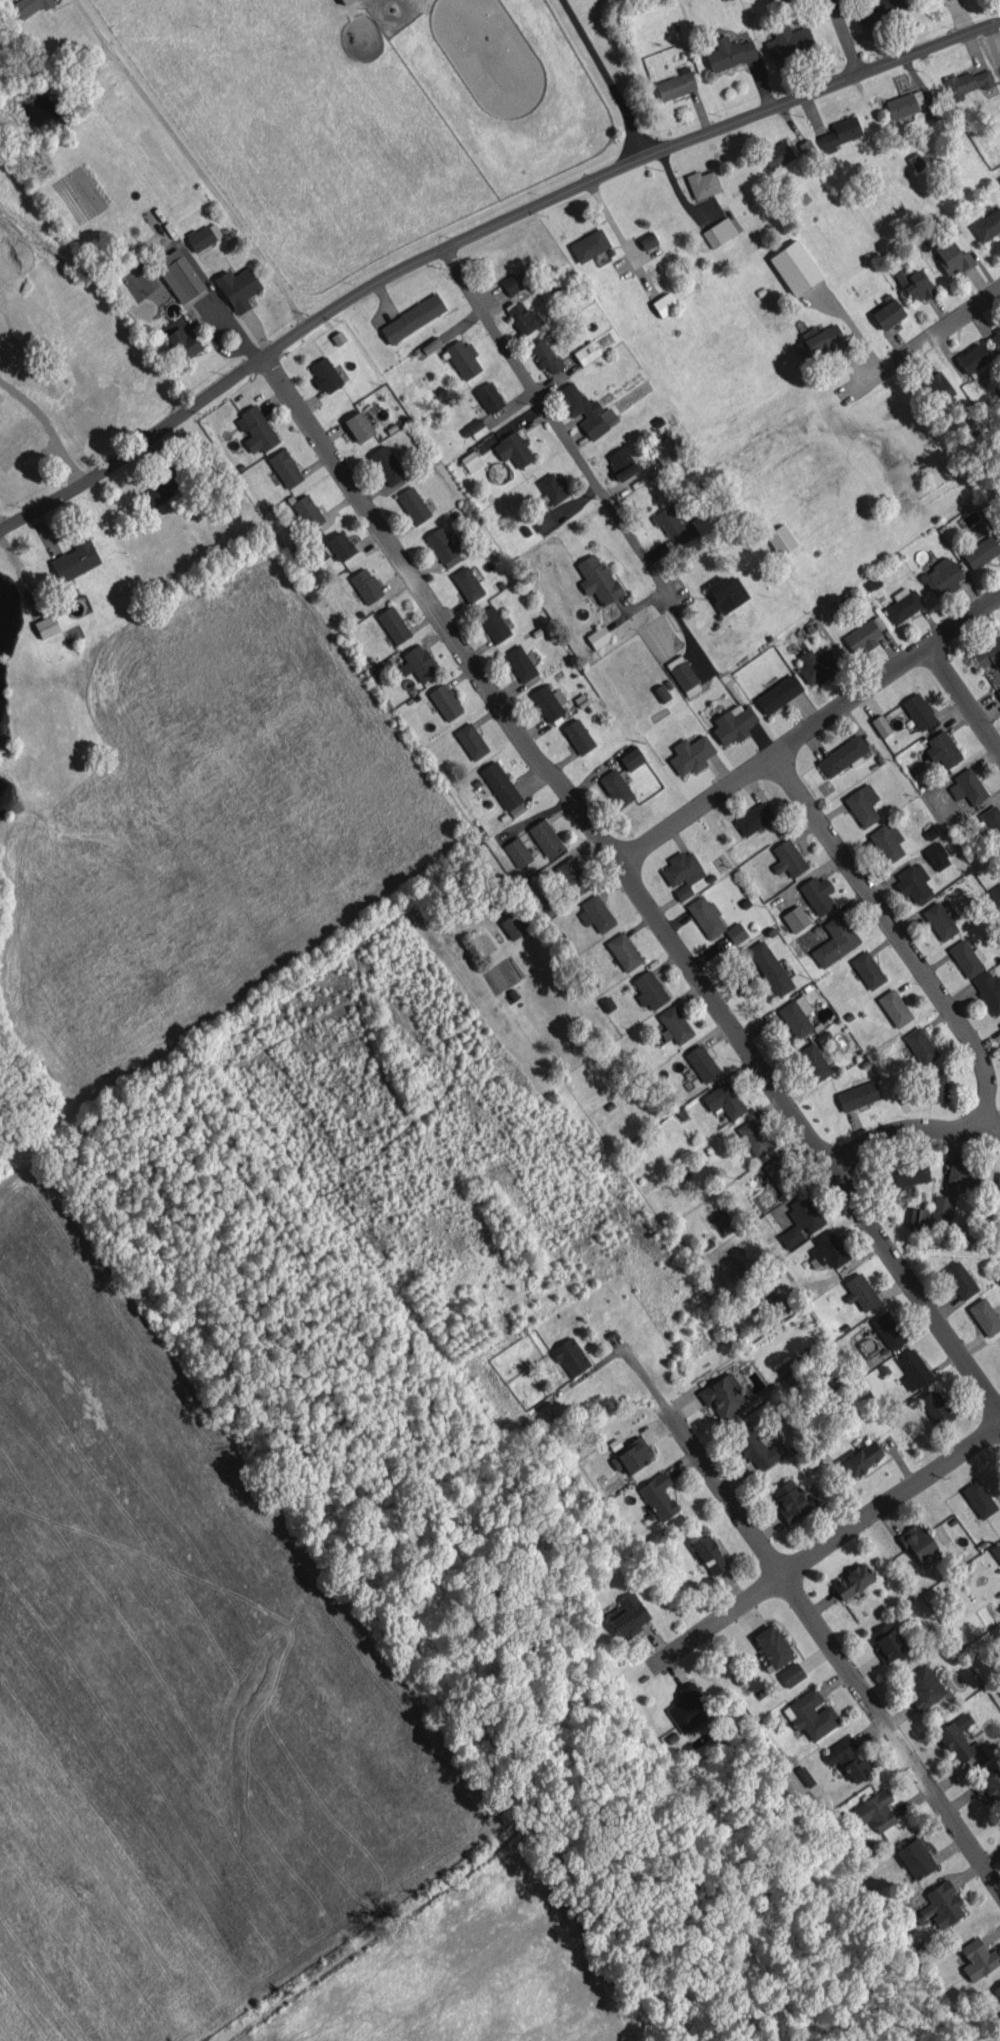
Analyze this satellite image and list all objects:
building: (344, 1)
building: (775, 1)
building: (28, 6)
building: (877, 9)
road: (844, 38)
building: (788, 40)
building: (729, 52)
road: (604, 75)
building: (967, 82)
building: (676, 84)
building: (905, 103)
building: (839, 133)
building: (806, 148)
building: (777, 154)
road: (190, 160)
building: (916, 161)
building: (702, 183)
building: (987, 224)
road: (474, 228)
building: (719, 231)
building: (204, 236)
building: (647, 239)
building: (589, 245)
building: (952, 257)
building: (795, 267)
building: (179, 274)
building: (511, 283)
building: (914, 284)
building: (238, 288)
building: (664, 304)
building: (888, 314)
building: (523, 317)
building: (412, 318)
building: (995, 339)
building: (817, 341)
road: (923, 341)
building: (183, 342)
building: (427, 347)
building: (585, 353)
building: (545, 355)
building: (463, 358)
building: (972, 358)
building: (325, 374)
building: (938, 385)
building: (489, 397)
building: (587, 411)
building: (359, 425)
road: (554, 426)
building: (475, 428)
building: (256, 429)
road: (45, 430)
building: (514, 449)
building: (663, 450)
building: (470, 460)
building: (621, 462)
building: (386, 464)
building: (285, 467)
building: (553, 487)
building: (157, 492)
building: (413, 505)
building: (307, 511)
building: (969, 519)
building: (667, 520)
building: (705, 521)
building: (543, 522)
building: (999, 526)
building: (781, 539)
building: (441, 544)
building: (340, 545)
building: (981, 552)
building: (74, 561)
building: (942, 576)
building: (597, 579)
building: (467, 583)
building: (366, 585)
building: (727, 592)
building: (903, 604)
building: (493, 623)
building: (393, 624)
building: (46, 625)
building: (598, 636)
building: (862, 636)
building: (988, 652)
building: (418, 663)
building: (520, 663)
building: (817, 665)
road: (942, 667)
building: (683, 675)
building: (661, 692)
building: (998, 692)
building: (778, 694)
building: (445, 701)
building: (548, 702)
building: (918, 710)
building: (733, 722)
building: (880, 725)
road: (806, 729)
building: (578, 736)
building: (471, 740)
building: (942, 748)
building: (690, 754)
building: (842, 755)
building: (631, 758)
building: (967, 786)
building: (616, 787)
building: (503, 789)
building: (862, 804)
building: (753, 818)
building: (992, 821)
building: (545, 837)
building: (887, 842)
building: (518, 852)
building: (936, 855)
building: (788, 858)
building: (682, 872)
building: (571, 876)
building: (913, 882)
road: (627, 883)
building: (817, 894)
building: (995, 894)
building: (596, 913)
building: (706, 916)
building: (795, 918)
building: (940, 920)
building: (514, 924)
building: (736, 932)
road: (899, 937)
building: (835, 941)
building: (623, 951)
building: (967, 958)
building: (769, 967)
building: (867, 969)
building: (649, 989)
building: (989, 990)
building: (894, 1007)
building: (796, 1016)
building: (675, 1024)
building: (999, 1024)
building: (920, 1045)
building: (814, 1062)
building: (702, 1063)
building: (937, 1087)
building: (858, 1095)
building: (724, 1100)
road: (909, 1132)
building: (754, 1137)
building: (781, 1174)
building: (964, 1174)
building: (907, 1175)
building: (997, 1183)
building: (940, 1207)
building: (917, 1218)
building: (800, 1220)
building: (828, 1249)
building: (959, 1280)
building: (860, 1292)
building: (776, 1306)
building: (984, 1316)
building: (888, 1329)
building: (570, 1357)
building: (913, 1369)
building: (723, 1396)
building: (936, 1407)
building: (756, 1447)
building: (631, 1455)
building: (862, 1458)
building: (658, 1496)
building: (979, 1499)
building: (791, 1500)
building: (917, 1541)
road: (822, 1545)
building: (996, 1551)
building: (709, 1554)
building: (928, 1559)
building: (852, 1581)
road: (806, 1611)
building: (628, 1615)
building: (887, 1641)
building: (772, 1646)
building: (791, 1674)
building: (923, 1686)
building: (688, 1708)
building: (811, 1714)
building: (958, 1738)
building: (847, 1759)
building: (989, 1786)
building: (875, 1810)
building: (916, 1858)
building: (942, 1904)
building: (978, 1959)
building: (997, 1990)

